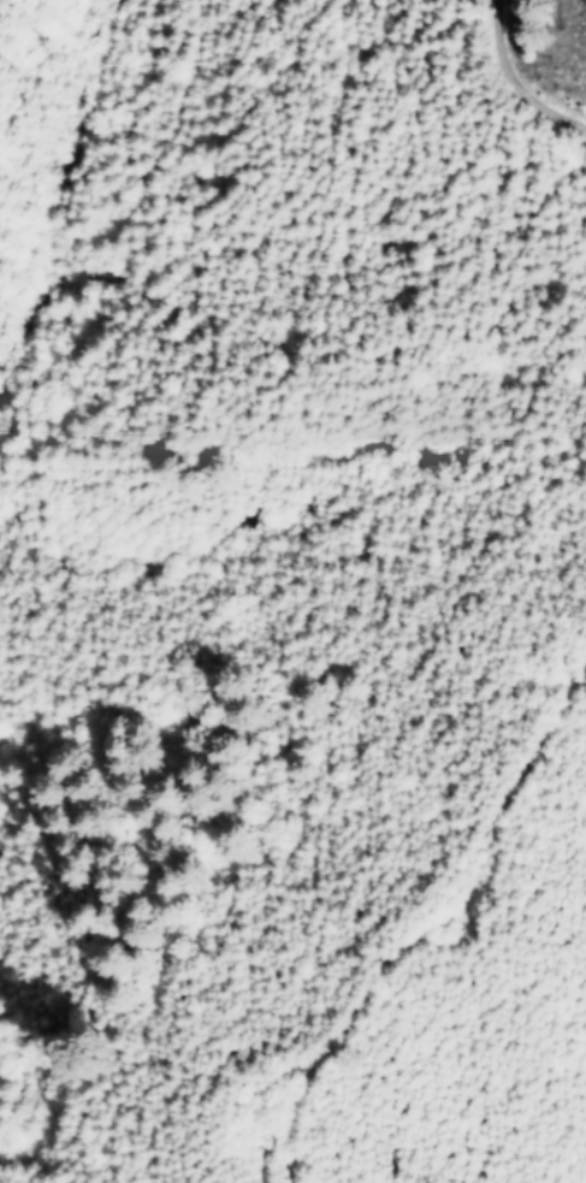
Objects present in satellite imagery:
road: (516, 70)
road: (403, 851)

